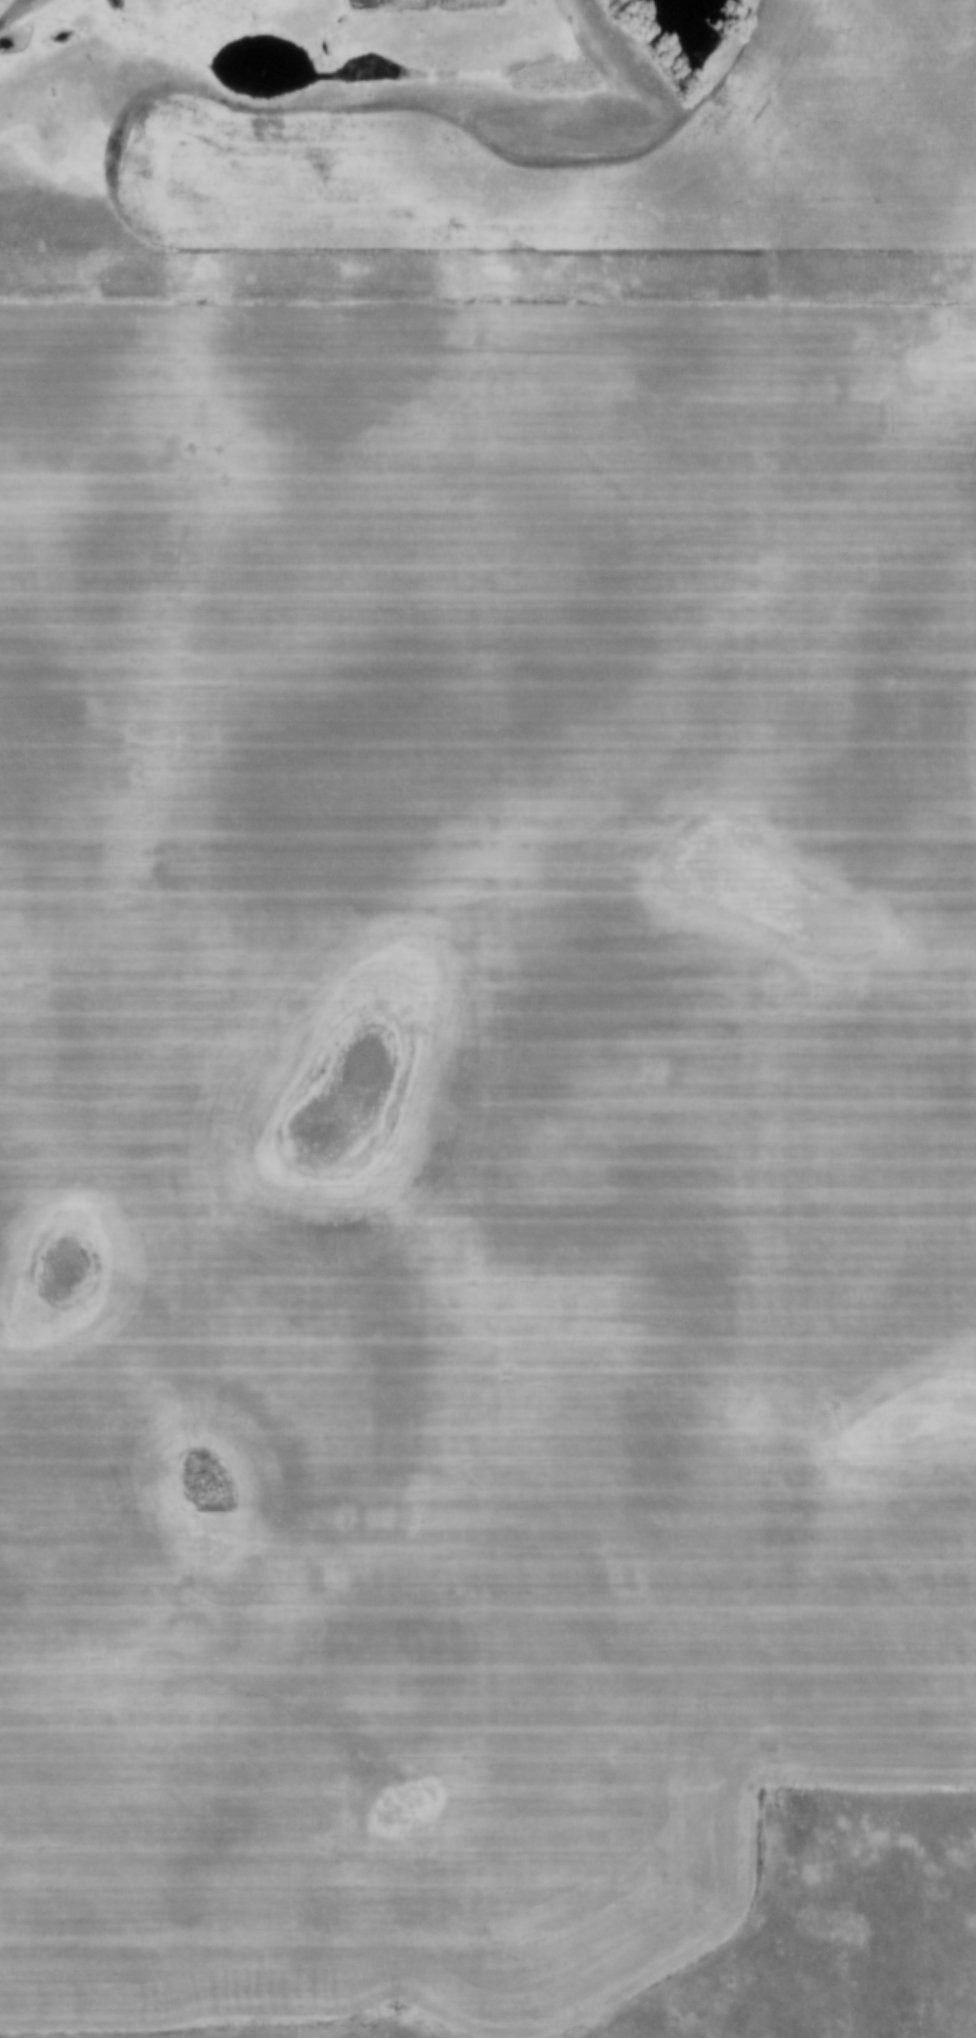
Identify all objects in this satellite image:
dam: (655, 52)
road: (487, 299)

